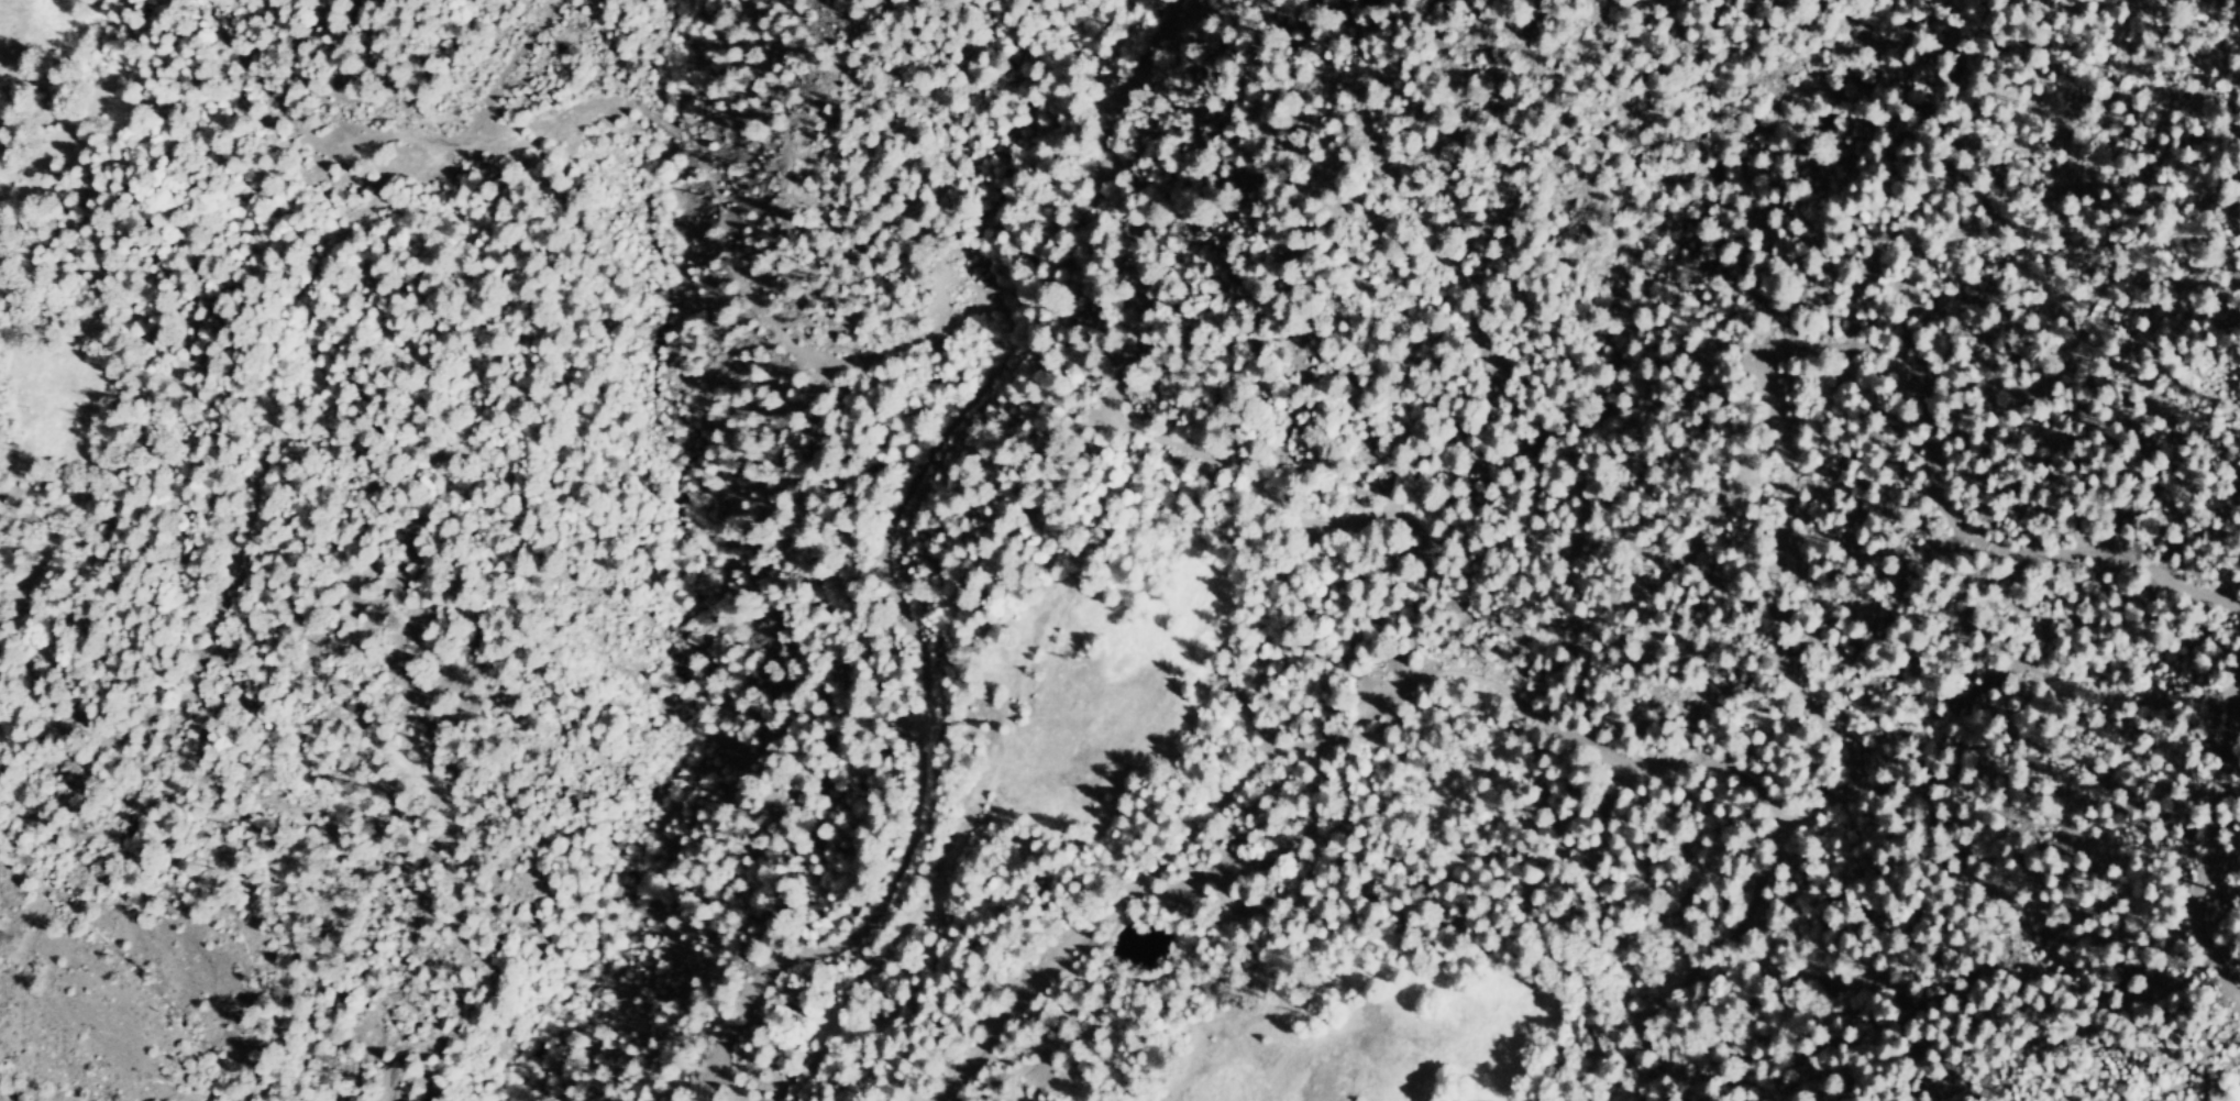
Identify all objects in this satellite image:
road: (583, 111)
road: (659, 123)
road: (1808, 346)
road: (907, 503)

